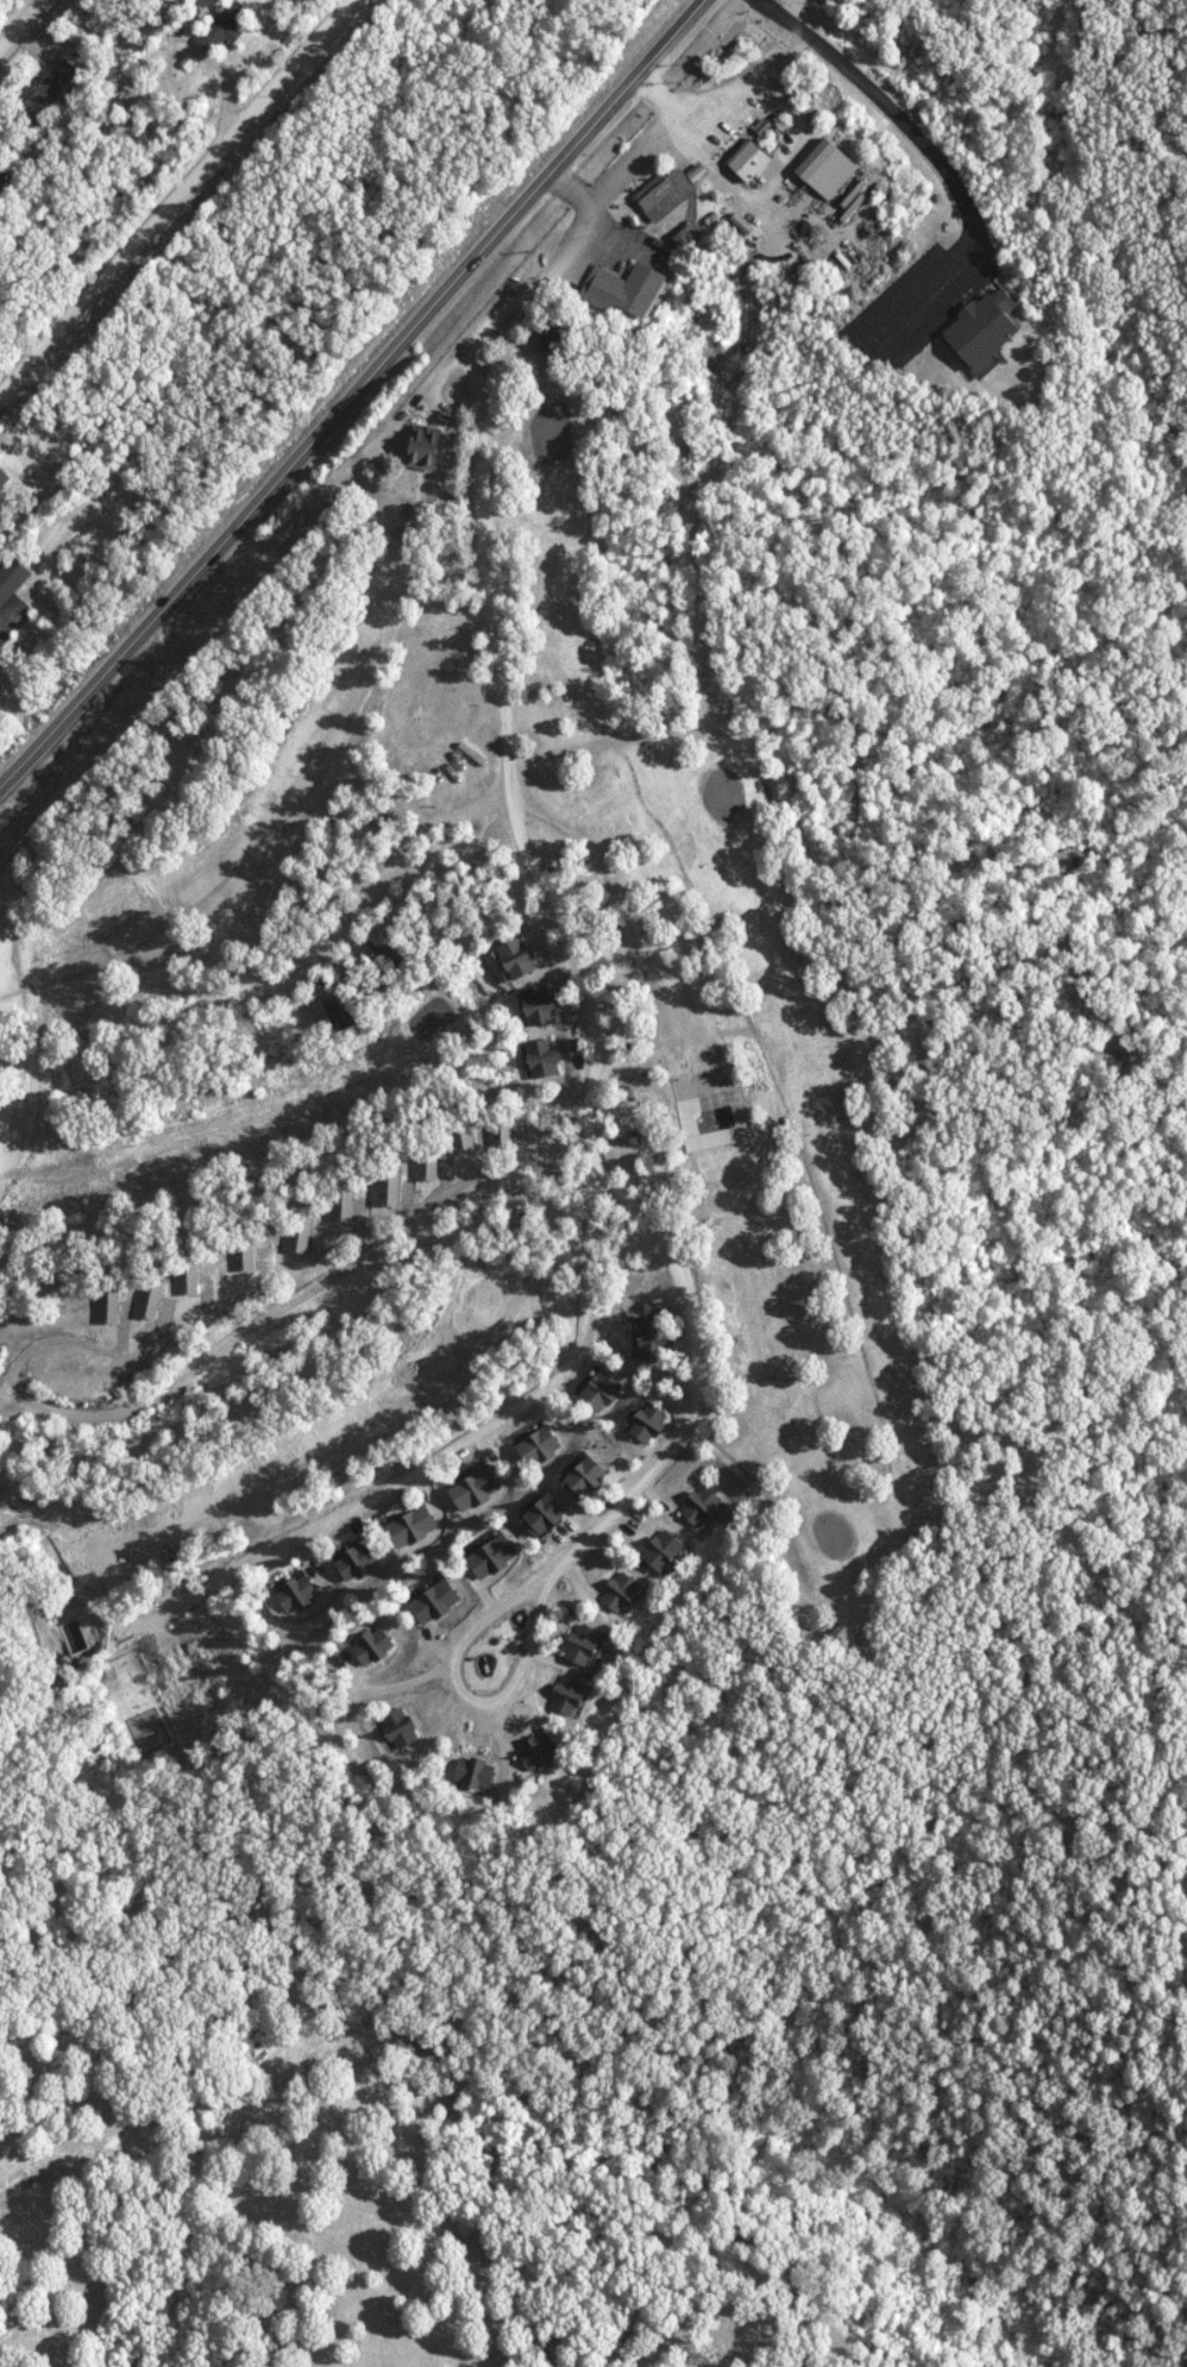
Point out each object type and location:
building: (227, 25)
road: (25, 27)
road: (742, 86)
building: (57, 87)
building: (752, 159)
road: (938, 163)
building: (829, 168)
building: (4, 174)
road: (570, 186)
building: (666, 194)
road: (175, 195)
road: (538, 225)
building: (692, 234)
building: (626, 288)
building: (988, 326)
road: (351, 389)
building: (428, 446)
building: (5, 478)
building: (1, 501)
building: (13, 579)
road: (495, 617)
building: (520, 958)
road: (318, 965)
building: (541, 1004)
building: (351, 1010)
building: (546, 1056)
building: (653, 1333)
building: (603, 1388)
building: (651, 1421)
building: (539, 1444)
road: (414, 1470)
building: (589, 1476)
building: (477, 1487)
building: (703, 1505)
building: (546, 1514)
road: (601, 1514)
building: (414, 1525)
building: (666, 1549)
building: (494, 1555)
building: (356, 1559)
building: (622, 1590)
building: (299, 1591)
building: (435, 1601)
building: (586, 1643)
building: (375, 1645)
building: (570, 1694)
building: (401, 1726)
building: (540, 1750)
building: (476, 1772)

